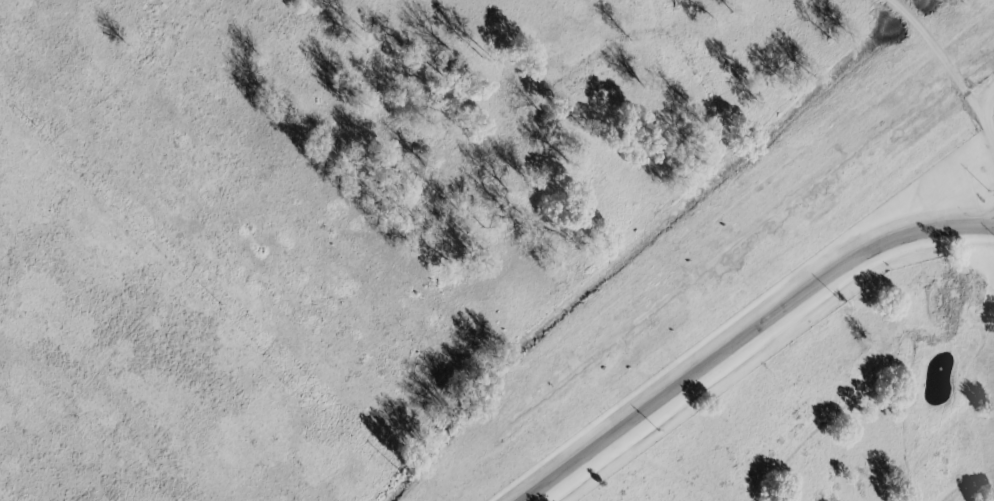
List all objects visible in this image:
road: (938, 57)
road: (983, 123)
road: (744, 330)
park: (838, 408)

